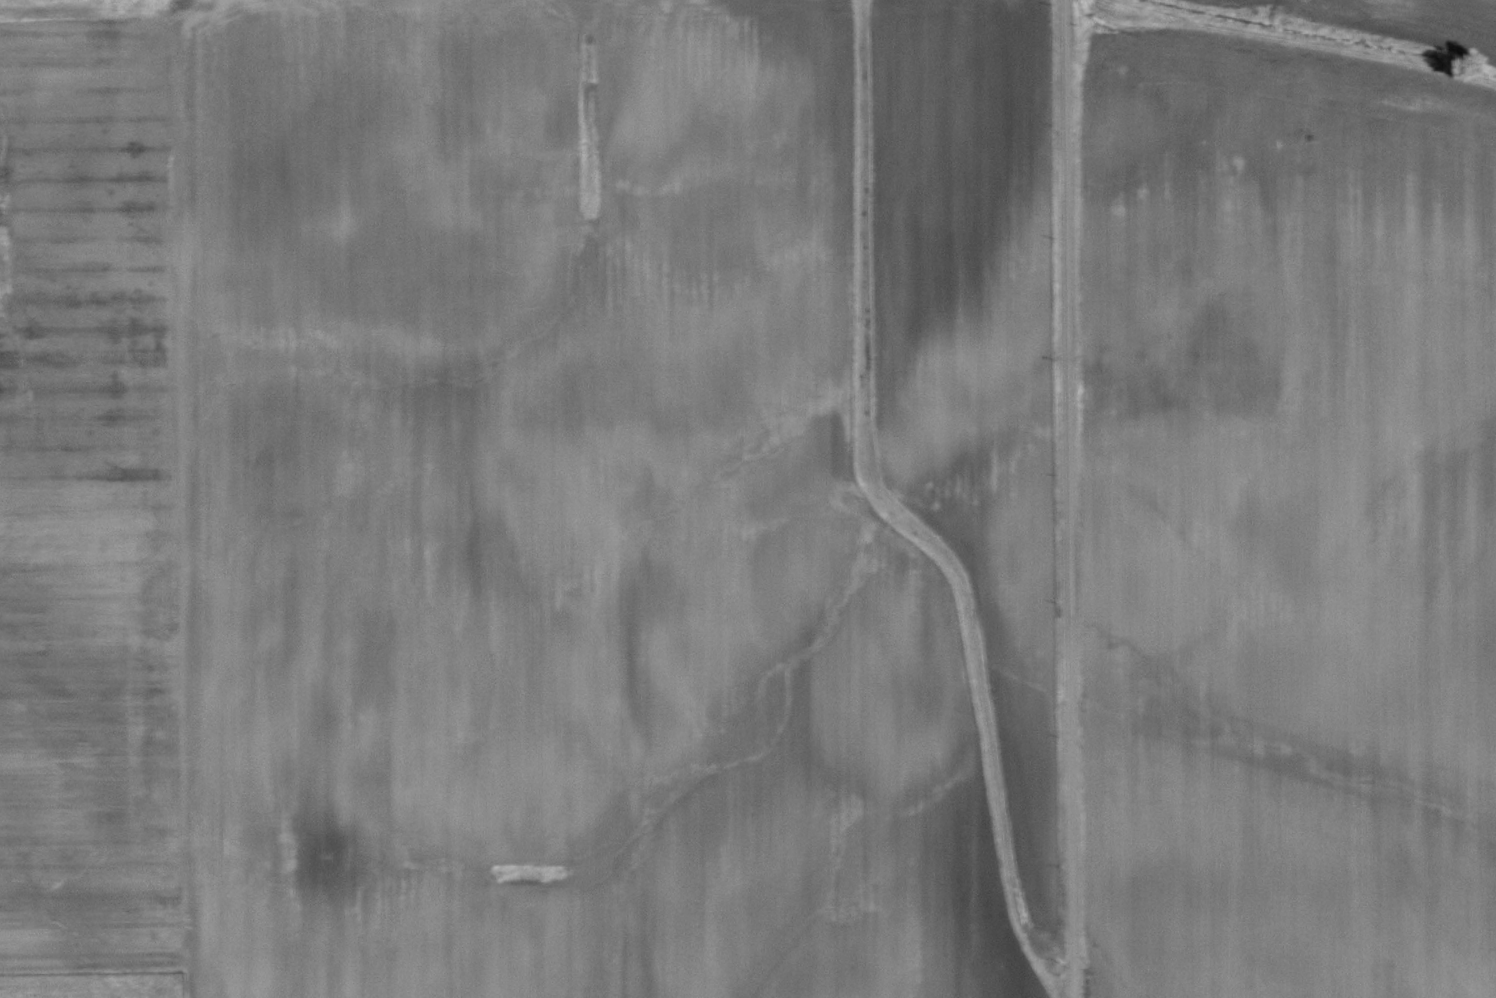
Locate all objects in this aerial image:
building: (1156, 348)
road: (1073, 499)

